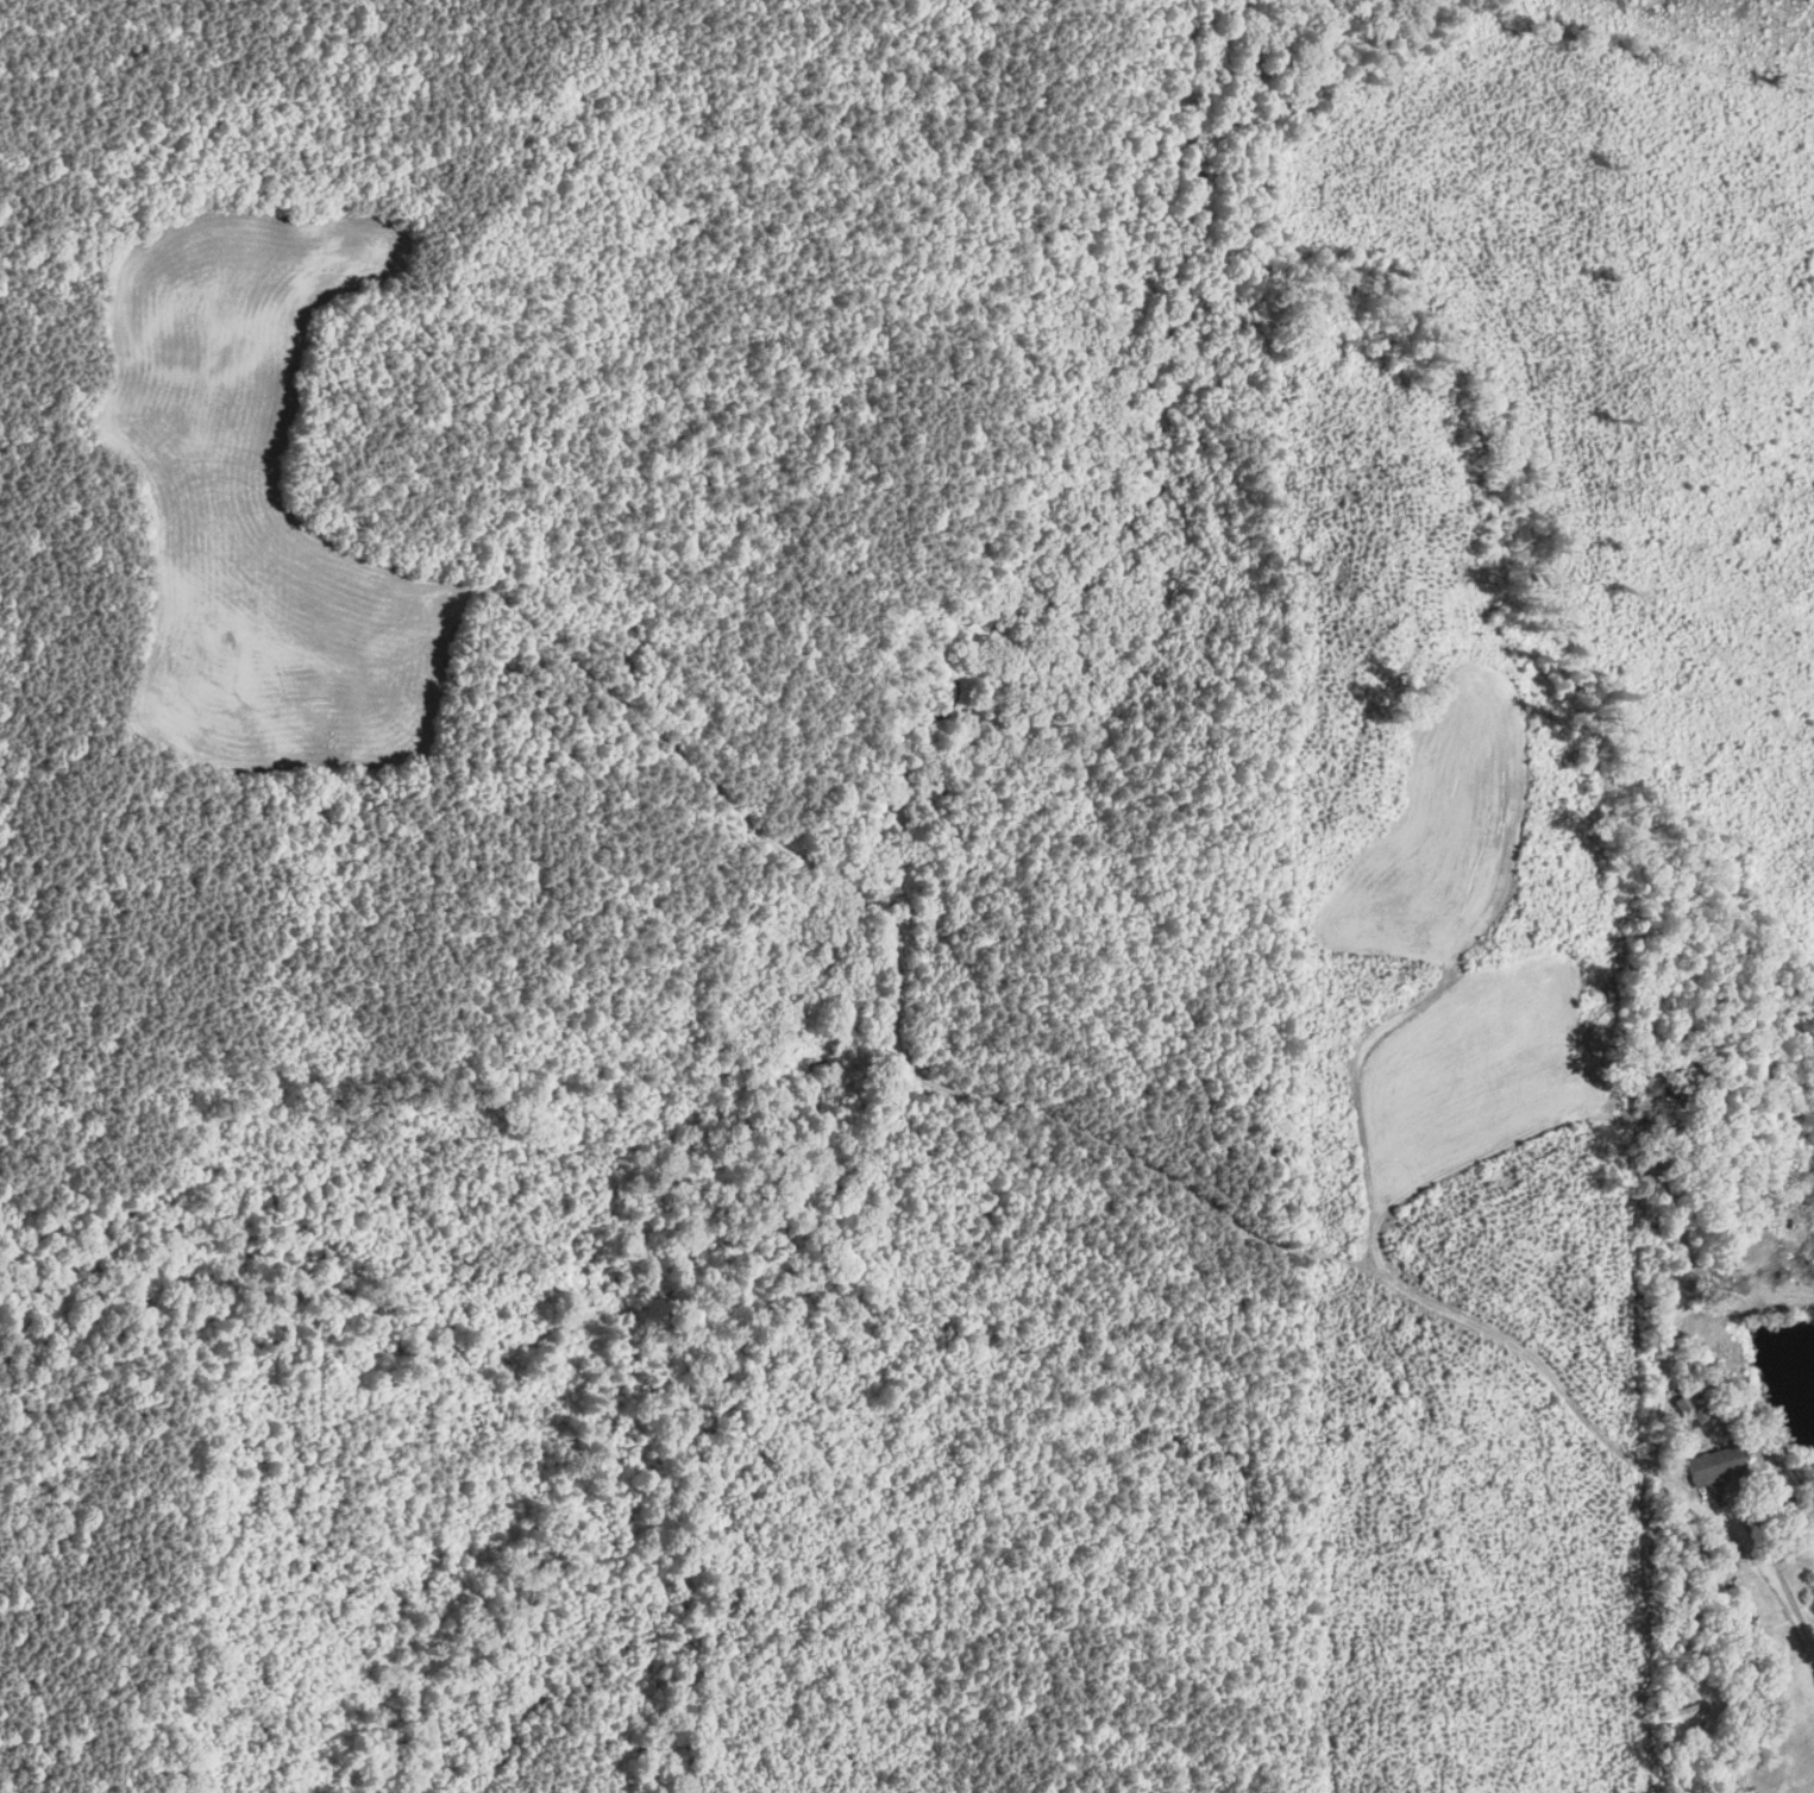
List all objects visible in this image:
building: (1720, 1462)
road: (1778, 1591)

